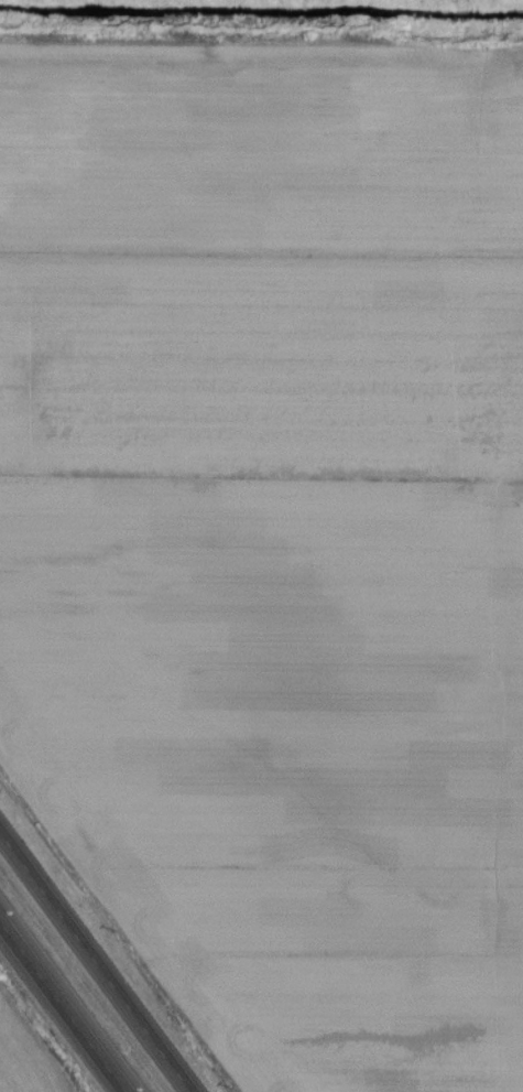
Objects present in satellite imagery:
road: (99, 956)
road: (63, 1004)

